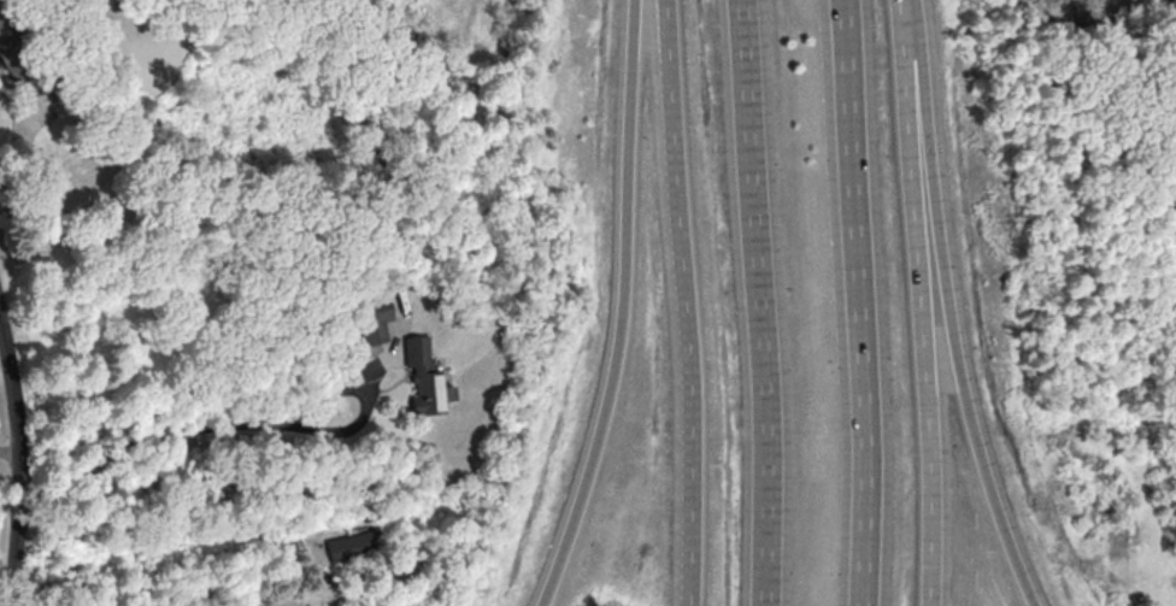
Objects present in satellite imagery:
road: (686, 302)
road: (762, 302)
road: (860, 302)
road: (923, 302)
road: (951, 307)
road: (623, 308)
building: (372, 318)
building: (424, 377)
road: (247, 425)
road: (10, 460)
road: (19, 461)
road: (288, 540)
building: (351, 545)

